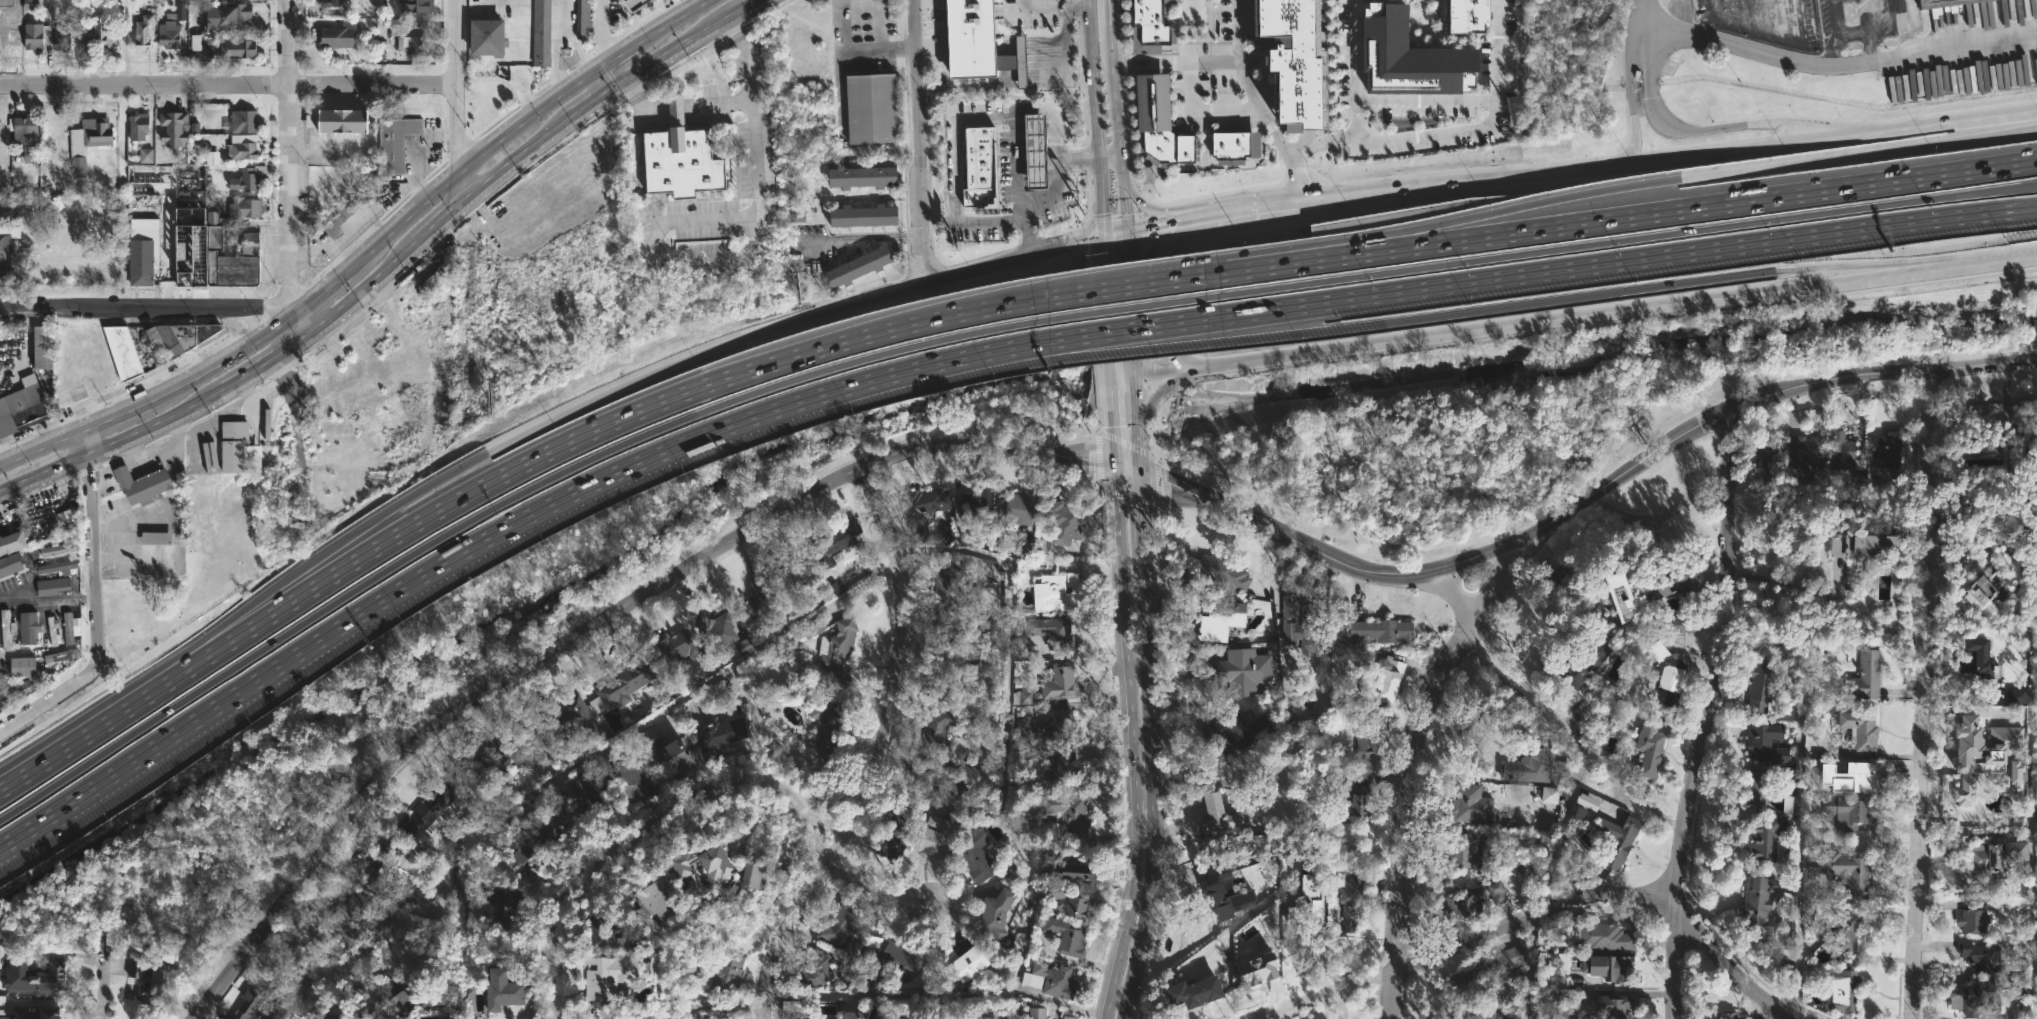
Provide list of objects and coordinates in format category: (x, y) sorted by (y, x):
building: (329, 2)
building: (1946, 3)
building: (635, 4)
building: (412, 5)
road: (747, 7)
road: (1071, 9)
road: (1646, 11)
road: (1116, 12)
building: (1465, 16)
building: (226, 18)
building: (582, 19)
building: (1149, 26)
road: (1636, 27)
building: (11, 29)
road: (600, 29)
building: (144, 31)
building: (539, 33)
building: (96, 34)
building: (169, 34)
building: (339, 34)
building: (37, 35)
building: (63, 36)
building: (486, 36)
building: (201, 42)
building: (976, 42)
building: (417, 44)
road: (555, 46)
building: (238, 48)
road: (576, 48)
road: (670, 50)
road: (853, 50)
building: (1410, 57)
road: (517, 58)
building: (1296, 59)
road: (1179, 61)
road: (1067, 64)
road: (1834, 64)
road: (1355, 67)
road: (602, 80)
road: (1021, 83)
road: (1249, 84)
road: (227, 85)
road: (963, 85)
road: (748, 91)
road: (640, 101)
road: (1424, 101)
road: (590, 102)
road: (456, 103)
road: (674, 105)
building: (974, 105)
building: (870, 107)
road: (1201, 109)
road: (1016, 113)
road: (1630, 113)
building: (341, 120)
building: (245, 121)
building: (1161, 121)
road: (1750, 123)
building: (139, 126)
road: (914, 126)
building: (174, 127)
road: (1121, 127)
building: (25, 130)
road: (1425, 135)
building: (88, 141)
building: (396, 142)
building: (1235, 147)
building: (244, 149)
building: (1034, 150)
gas station: (1034, 150)
building: (28, 154)
building: (146, 155)
road: (289, 155)
road: (952, 156)
building: (681, 157)
road: (514, 160)
road: (1111, 161)
road: (1787, 161)
building: (979, 167)
road: (1581, 170)
building: (859, 177)
building: (249, 178)
road: (1101, 189)
road: (1055, 196)
road: (1140, 200)
road: (1727, 201)
building: (351, 206)
building: (861, 215)
road: (988, 218)
road: (1477, 222)
road: (435, 225)
building: (205, 228)
traffic signals: (1127, 230)
road: (1116, 232)
traffic signals: (1105, 234)
road: (860, 237)
road: (1619, 237)
building: (4, 250)
road: (363, 252)
road: (716, 254)
road: (1008, 257)
road: (1309, 259)
road: (1619, 259)
road: (2008, 260)
building: (142, 262)
road: (932, 264)
road: (1930, 265)
building: (862, 266)
road: (915, 268)
building: (439, 278)
road: (1123, 284)
road: (352, 299)
road: (1153, 299)
road: (1542, 299)
road: (1131, 304)
road: (1123, 305)
road: (146, 308)
road: (1615, 317)
road: (1127, 327)
road: (290, 331)
building: (180, 337)
road: (1128, 339)
road: (829, 343)
building: (43, 347)
building: (124, 352)
road: (693, 355)
road: (1218, 369)
road: (257, 373)
road: (1160, 375)
traffic signals: (1112, 378)
road: (1123, 378)
traffic signals: (1135, 378)
road: (1160, 392)
park: (1575, 395)
road: (1136, 406)
building: (23, 407)
road: (1113, 422)
road: (1123, 442)
road: (113, 443)
building: (234, 445)
building: (1883, 445)
building: (1985, 445)
road: (158, 446)
road: (993, 447)
building: (1804, 450)
building: (1842, 453)
road: (1138, 454)
road: (366, 460)
traffic signals: (1115, 466)
building: (1762, 467)
road: (1127, 469)
traffic signals: (1139, 473)
road: (1590, 478)
building: (143, 485)
road: (1584, 498)
building: (978, 504)
road: (494, 507)
building: (925, 507)
building: (1019, 508)
road: (376, 515)
building: (1066, 524)
road: (155, 526)
road: (410, 526)
road: (497, 531)
road: (94, 533)
building: (157, 538)
building: (965, 538)
building: (12, 542)
building: (834, 543)
building: (1852, 545)
building: (57, 549)
road: (947, 557)
road: (137, 560)
building: (10, 565)
building: (58, 566)
building: (793, 572)
building: (1223, 576)
building: (1558, 578)
building: (1669, 582)
building: (53, 586)
road: (1445, 590)
building: (1058, 593)
road: (1493, 593)
building: (948, 595)
building: (1981, 595)
building: (761, 599)
building: (1607, 600)
road: (49, 601)
road: (572, 616)
building: (1222, 619)
road: (242, 620)
building: (1668, 625)
building: (1301, 626)
building: (29, 628)
building: (68, 628)
building: (7, 629)
building: (717, 630)
building: (53, 631)
building: (1381, 631)
building: (1049, 635)
building: (744, 645)
building: (678, 646)
building: (840, 651)
building: (58, 656)
building: (1974, 658)
building: (1581, 661)
building: (23, 667)
building: (948, 668)
building: (1239, 671)
building: (1878, 674)
building: (1666, 676)
building: (1866, 676)
building: (1378, 679)
building: (629, 681)
building: (1061, 683)
building: (1758, 685)
building: (15, 687)
road: (488, 688)
road: (1924, 691)
building: (717, 696)
building: (1023, 696)
building: (2012, 696)
road: (64, 699)
road: (1710, 714)
road: (1467, 719)
building: (574, 720)
road: (105, 722)
building: (1052, 726)
building: (828, 728)
building: (1871, 729)
building: (1233, 731)
building: (720, 733)
building: (1367, 734)
building: (937, 735)
road: (1570, 735)
building: (2035, 738)
building: (1647, 742)
building: (1974, 743)
road: (1129, 744)
building: (1764, 744)
building: (528, 746)
road: (1152, 747)
road: (882, 750)
building: (678, 756)
road: (1893, 756)
building: (493, 763)
building: (1525, 767)
building: (1071, 770)
building: (1852, 775)
building: (2015, 776)
building: (937, 777)
building: (632, 780)
building: (1758, 790)
building: (1549, 795)
building: (1356, 796)
building: (589, 799)
building: (1587, 802)
building: (1468, 805)
building: (427, 809)
building: (1848, 812)
building: (1578, 813)
building: (1074, 815)
building: (1212, 816)
road: (1401, 826)
road: (644, 827)
building: (898, 830)
building: (551, 832)
building: (1757, 836)
building: (940, 837)
building: (1614, 842)
building: (1460, 850)
building: (1995, 855)
building: (979, 856)
building: (526, 857)
park: (211, 861)
building: (385, 862)
building: (683, 863)
building: (715, 867)
road: (1796, 869)
building: (1080, 873)
building: (1845, 873)
building: (753, 875)
building: (770, 879)
road: (1544, 882)
building: (1056, 891)
road: (880, 892)
building: (1347, 893)
building: (492, 896)
building: (665, 900)
building: (1227, 900)
building: (1308, 901)
building: (1468, 902)
building: (1756, 908)
building: (513, 910)
building: (1084, 911)
building: (996, 915)
building: (1971, 916)
road: (1544, 917)
building: (351, 920)
building: (841, 925)
building: (1839, 928)
building: (1068, 934)
building: (1601, 935)
building: (613, 938)
building: (1293, 938)
building: (1223, 941)
building: (1977, 955)
building: (850, 956)
building: (903, 959)
building: (968, 961)
road: (104, 964)
building: (1612, 967)
building: (1488, 968)
building: (816, 970)
building: (1256, 970)
building: (1558, 972)
building: (729, 974)
building: (869, 975)
building: (33, 976)
building: (146, 979)
building: (1056, 979)
building: (615, 981)
building: (510, 988)
building: (1841, 988)
building: (1194, 992)
building: (422, 995)
building: (1972, 997)
building: (248, 1004)
building: (1611, 1006)
building: (1476, 1011)
building: (53, 1013)
road: (304, 1013)
building: (652, 1013)
building: (1037, 1013)
building: (855, 1015)
building: (1724, 1015)
building: (678, 1016)
building: (1072, 1017)
building: (903, 1018)

